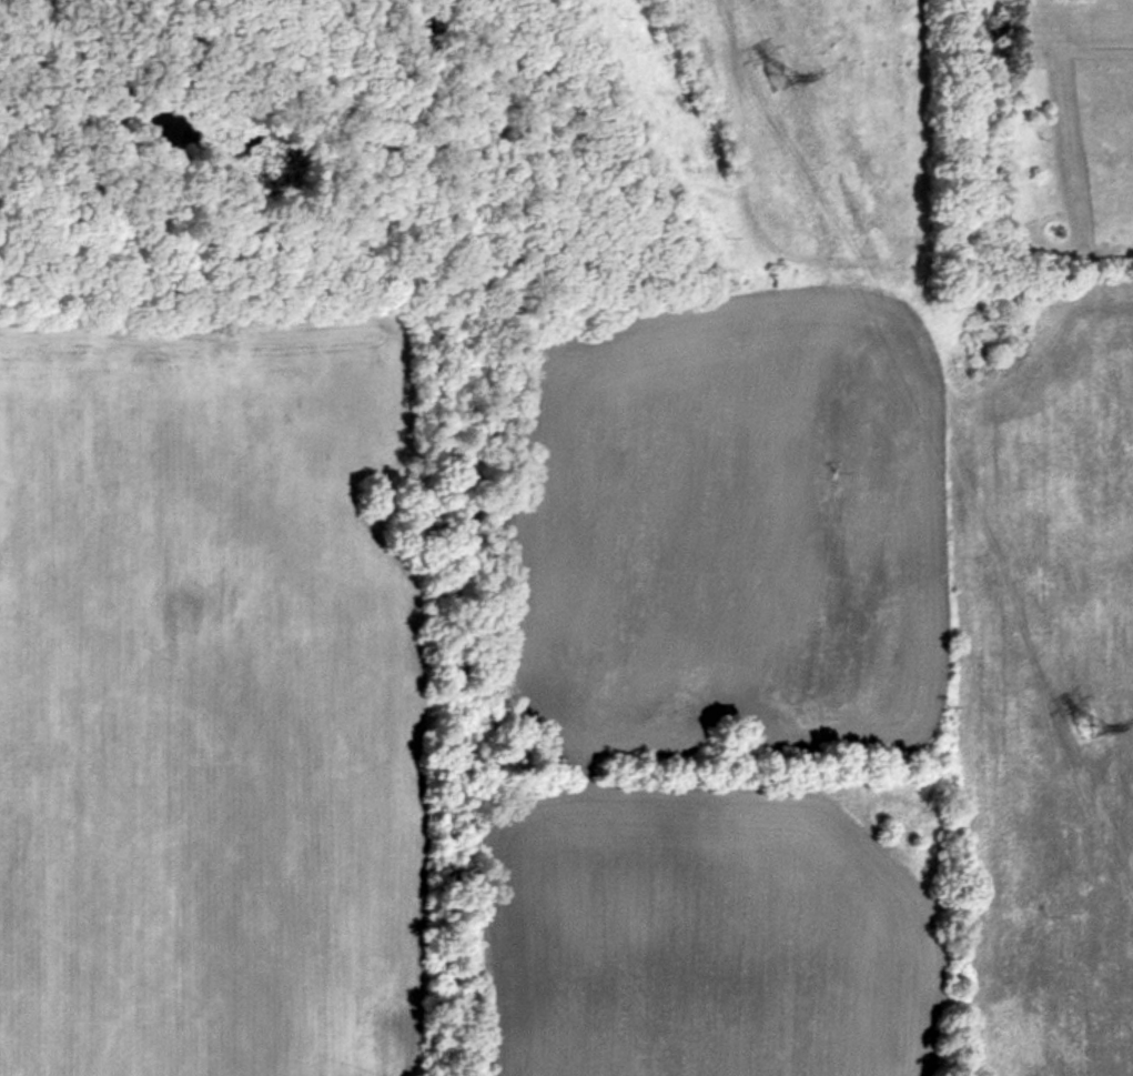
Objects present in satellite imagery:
power tower: (777, 73)
power tower: (1086, 724)

